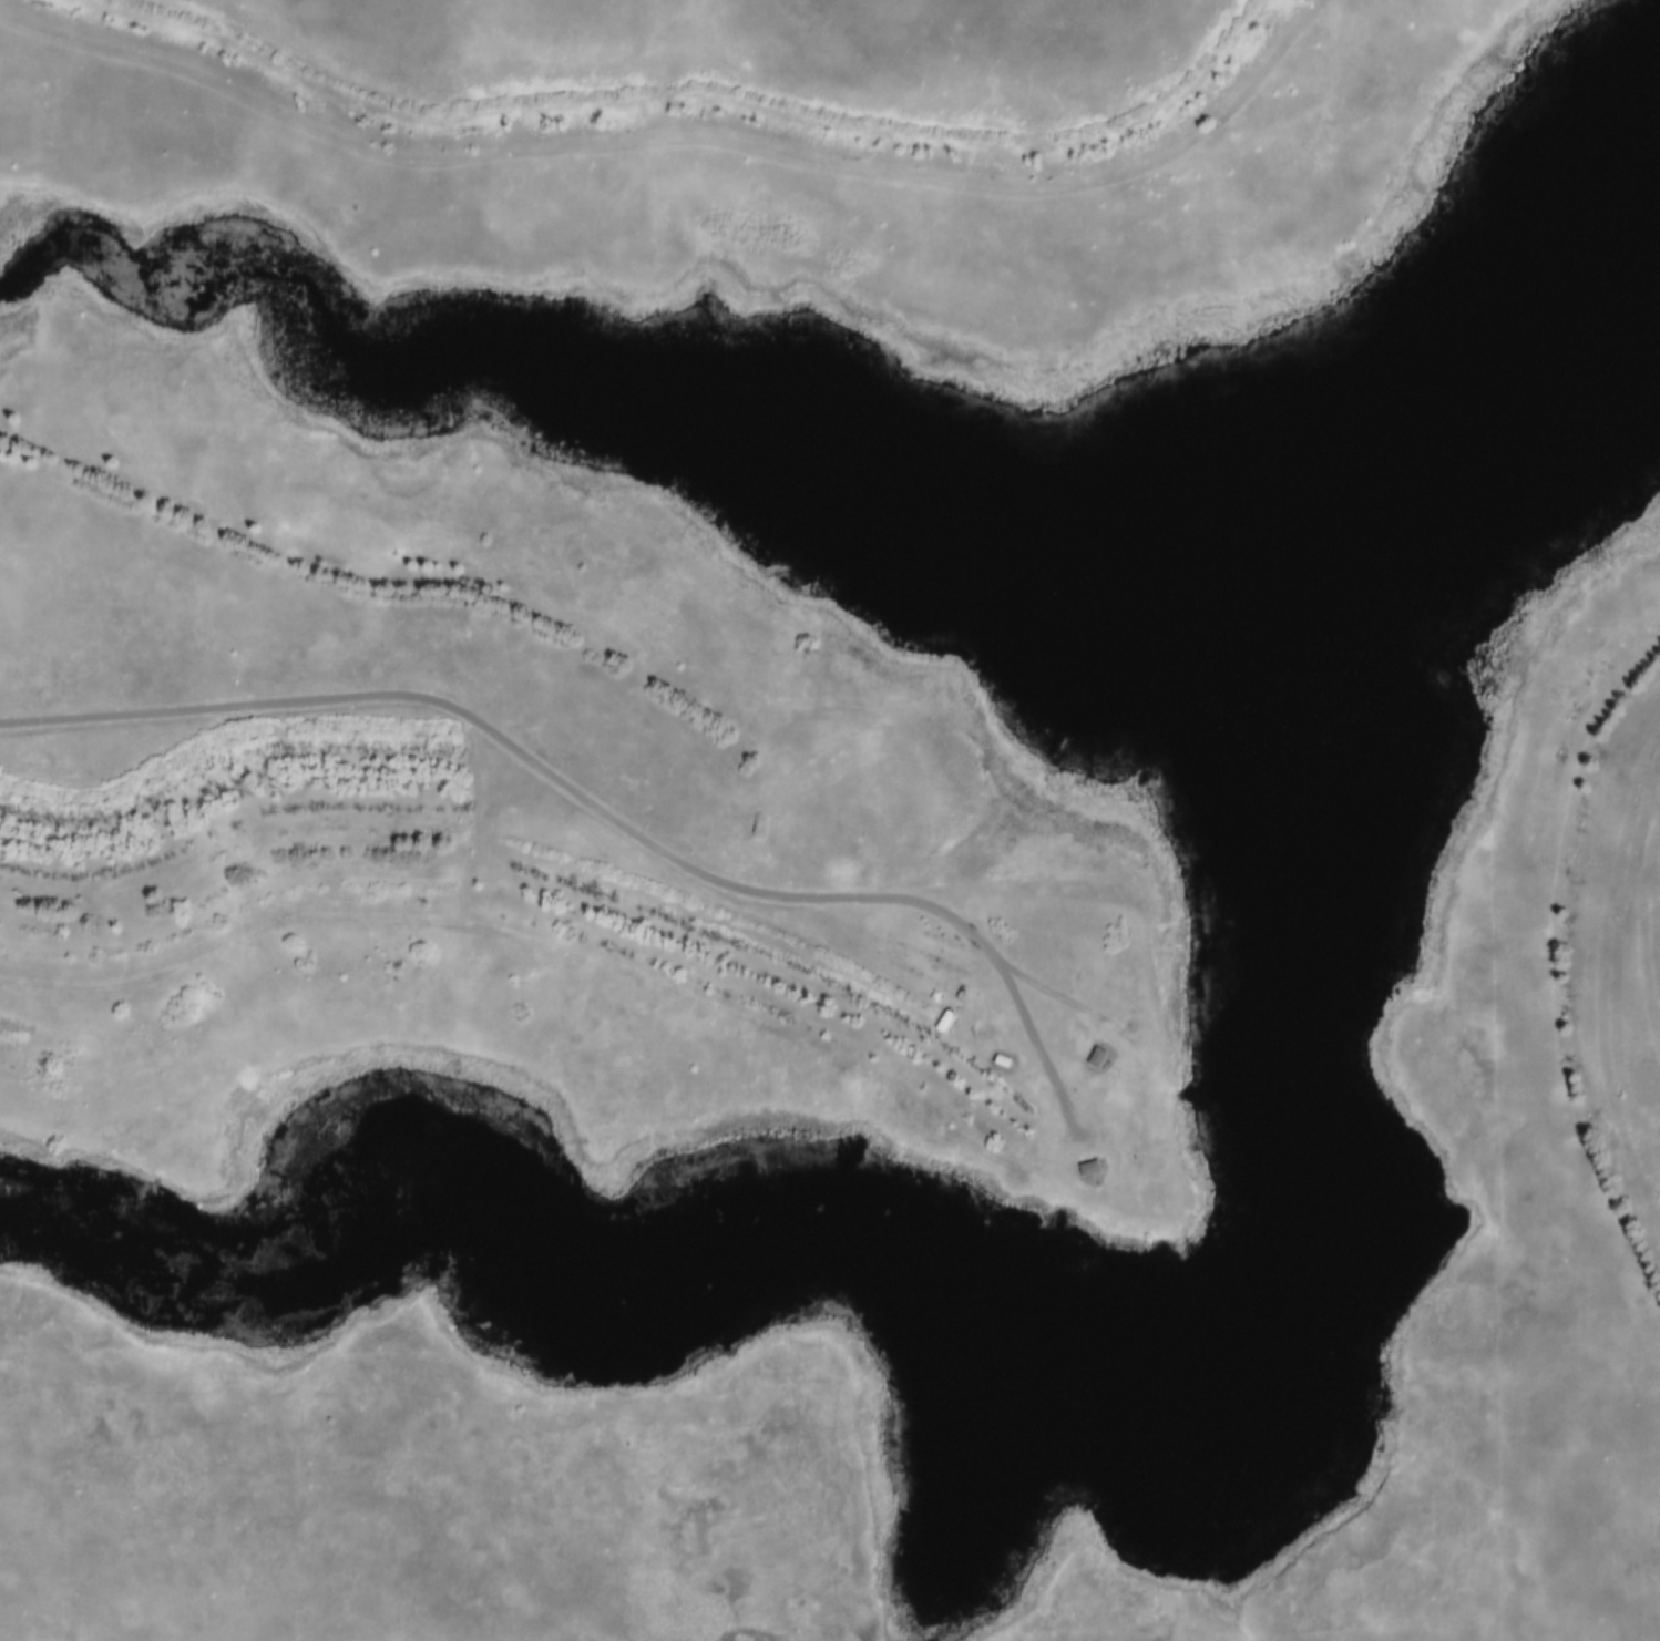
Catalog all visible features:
road: (418, 517)
road: (594, 809)
road: (322, 919)
road: (780, 1034)
building: (1101, 1056)
building: (1095, 1167)

